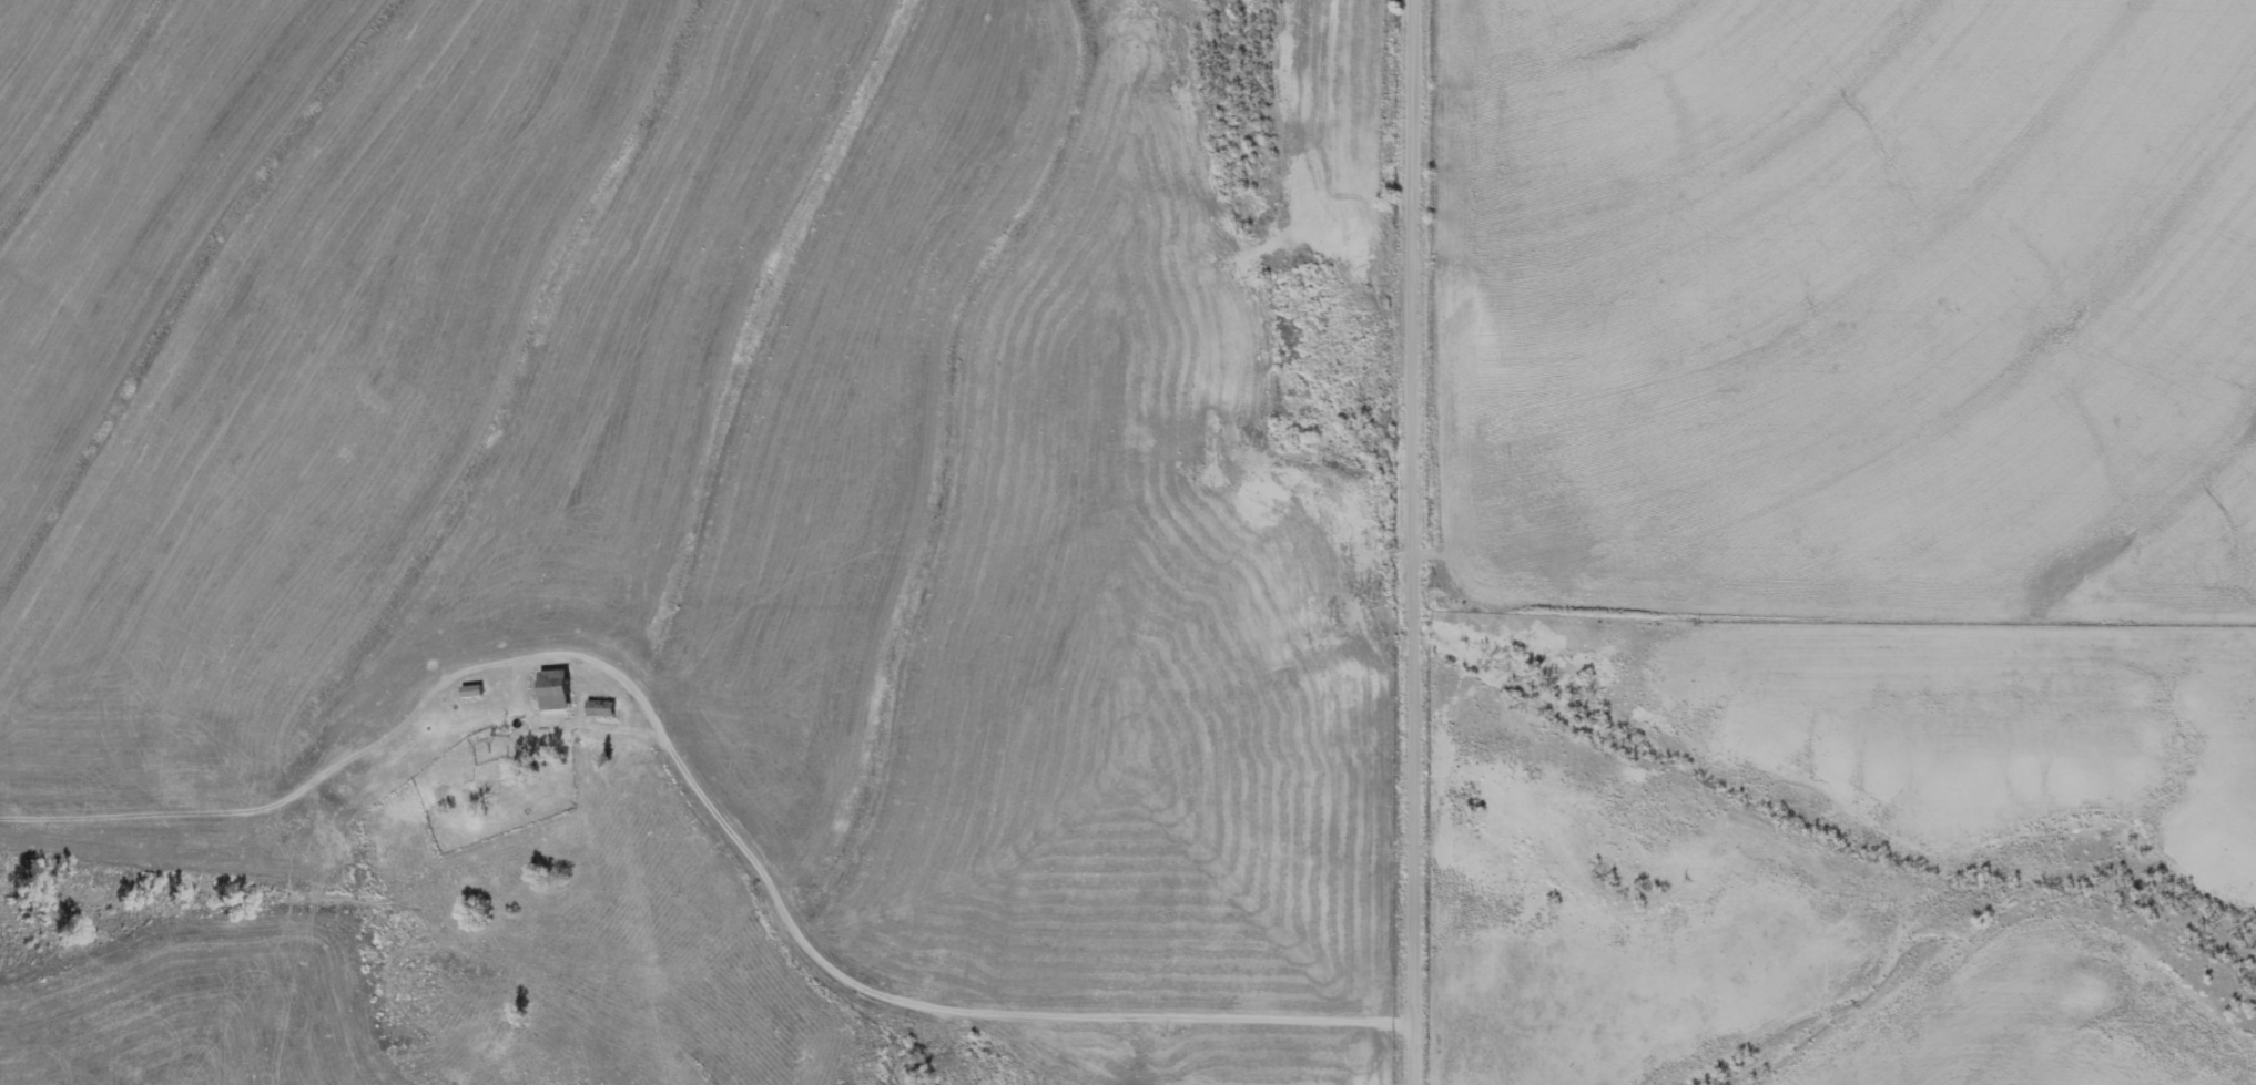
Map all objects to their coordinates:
road: (1421, 542)
building: (555, 694)
road: (721, 748)

